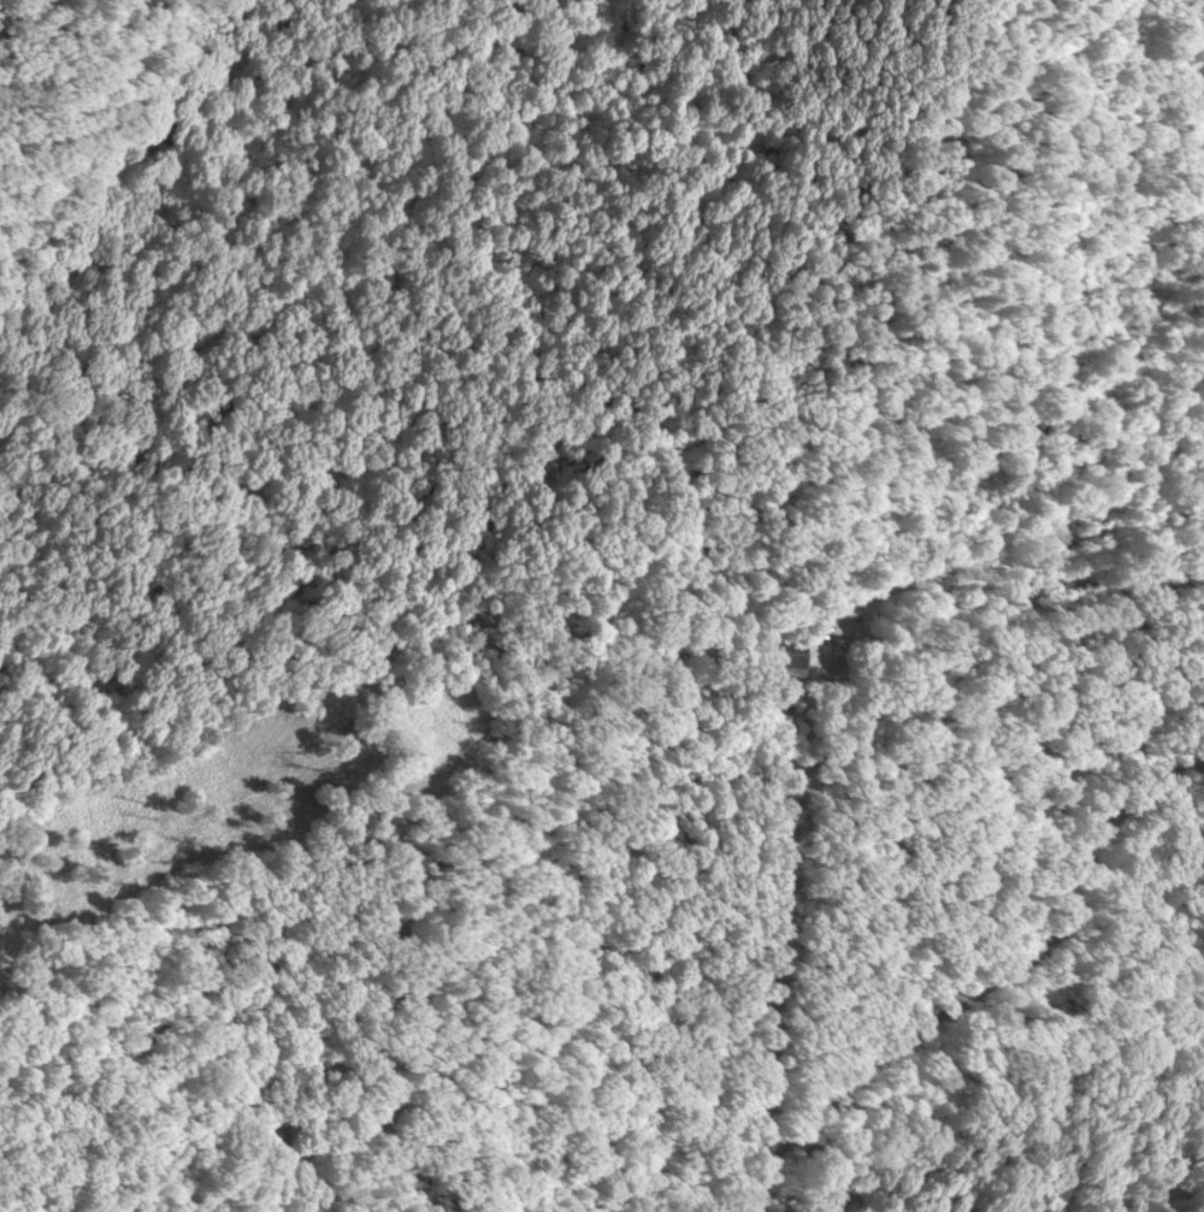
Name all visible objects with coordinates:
building: (779, 651)

